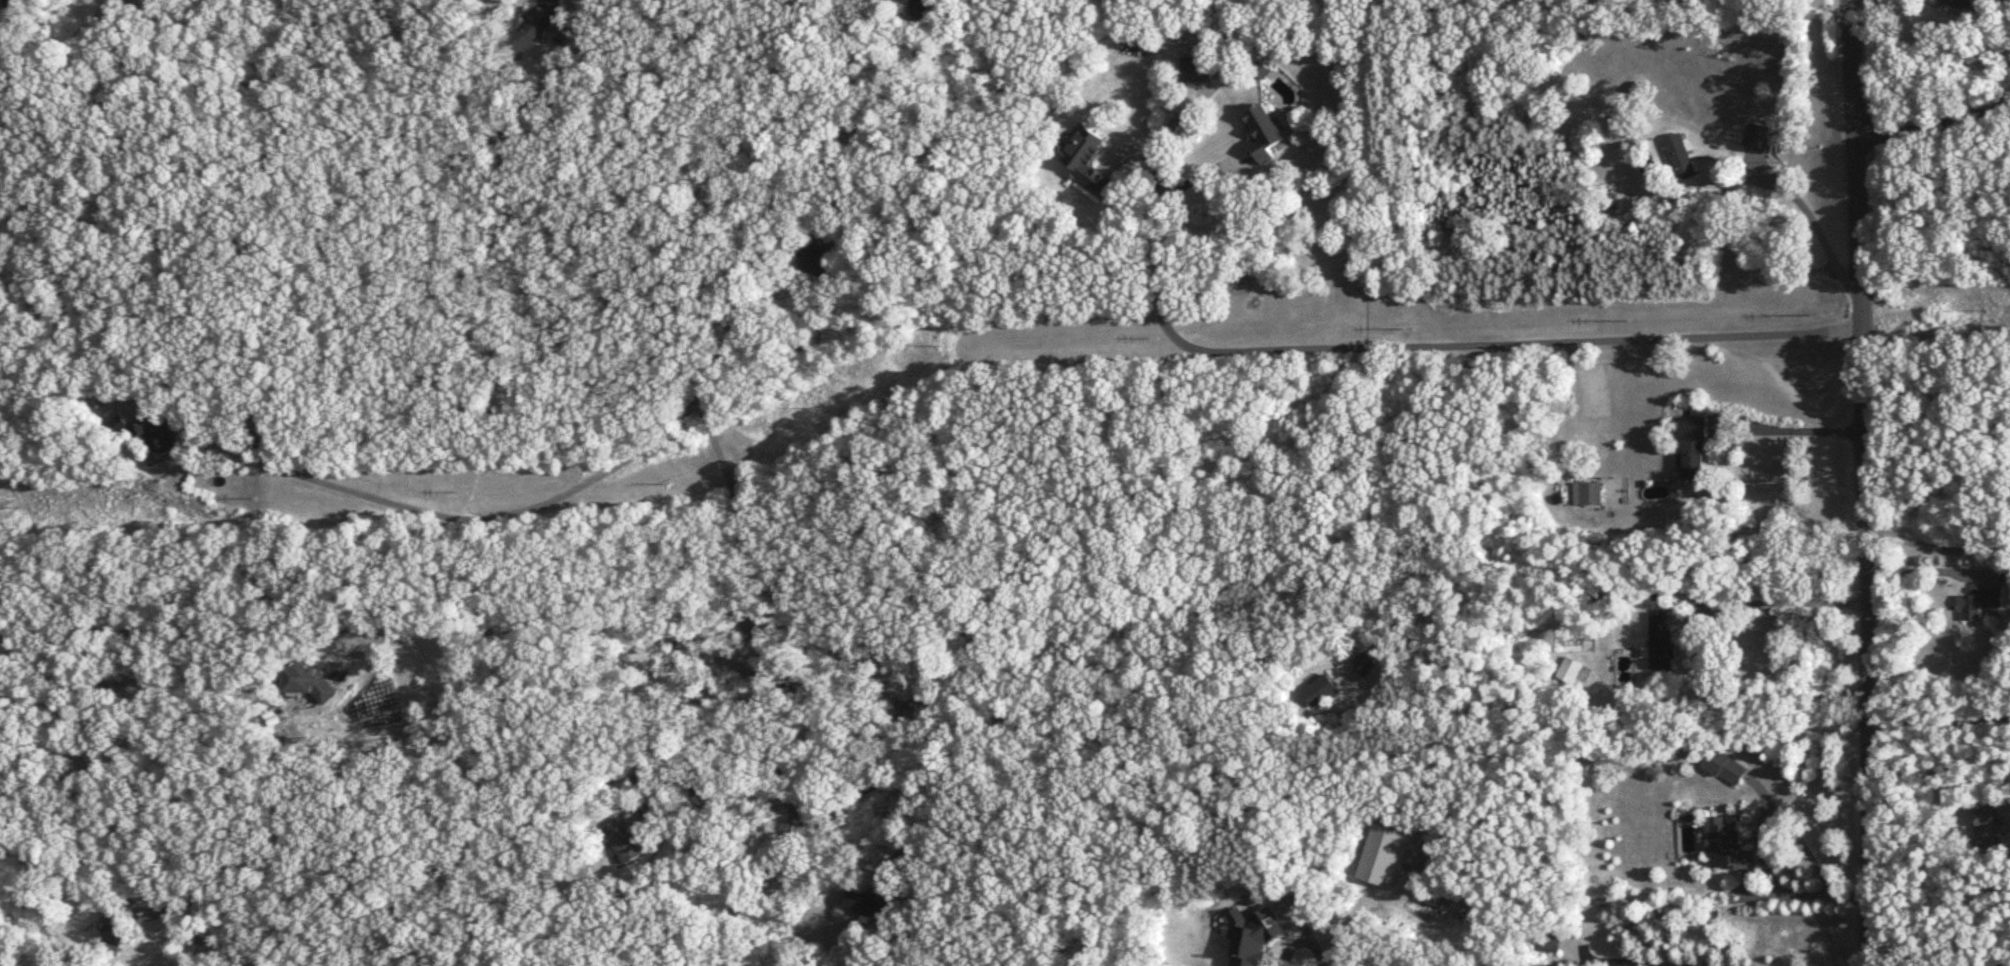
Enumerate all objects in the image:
building: (1965, 3)
building: (918, 12)
building: (530, 29)
building: (1194, 69)
building: (1560, 99)
road: (1933, 122)
road: (820, 126)
building: (1262, 134)
building: (1756, 137)
building: (497, 145)
building: (1678, 157)
building: (1084, 158)
road: (1195, 176)
road: (1811, 219)
building: (815, 267)
road: (1425, 335)
road: (1795, 427)
building: (150, 438)
building: (256, 442)
road: (650, 442)
building: (1692, 448)
road: (1862, 482)
building: (1591, 493)
road: (1936, 542)
road: (1774, 601)
building: (1978, 603)
road: (651, 624)
building: (1660, 641)
building: (1366, 664)
building: (1569, 671)
building: (304, 680)
building: (1321, 692)
road: (1939, 720)
road: (701, 747)
building: (1724, 767)
road: (894, 780)
building: (1988, 830)
building: (624, 842)
building: (1726, 845)
road: (1810, 856)
road: (743, 901)
building: (869, 904)
building: (112, 927)
road: (1301, 937)
road: (220, 938)
building: (1551, 943)
building: (1997, 959)
road: (1638, 961)

